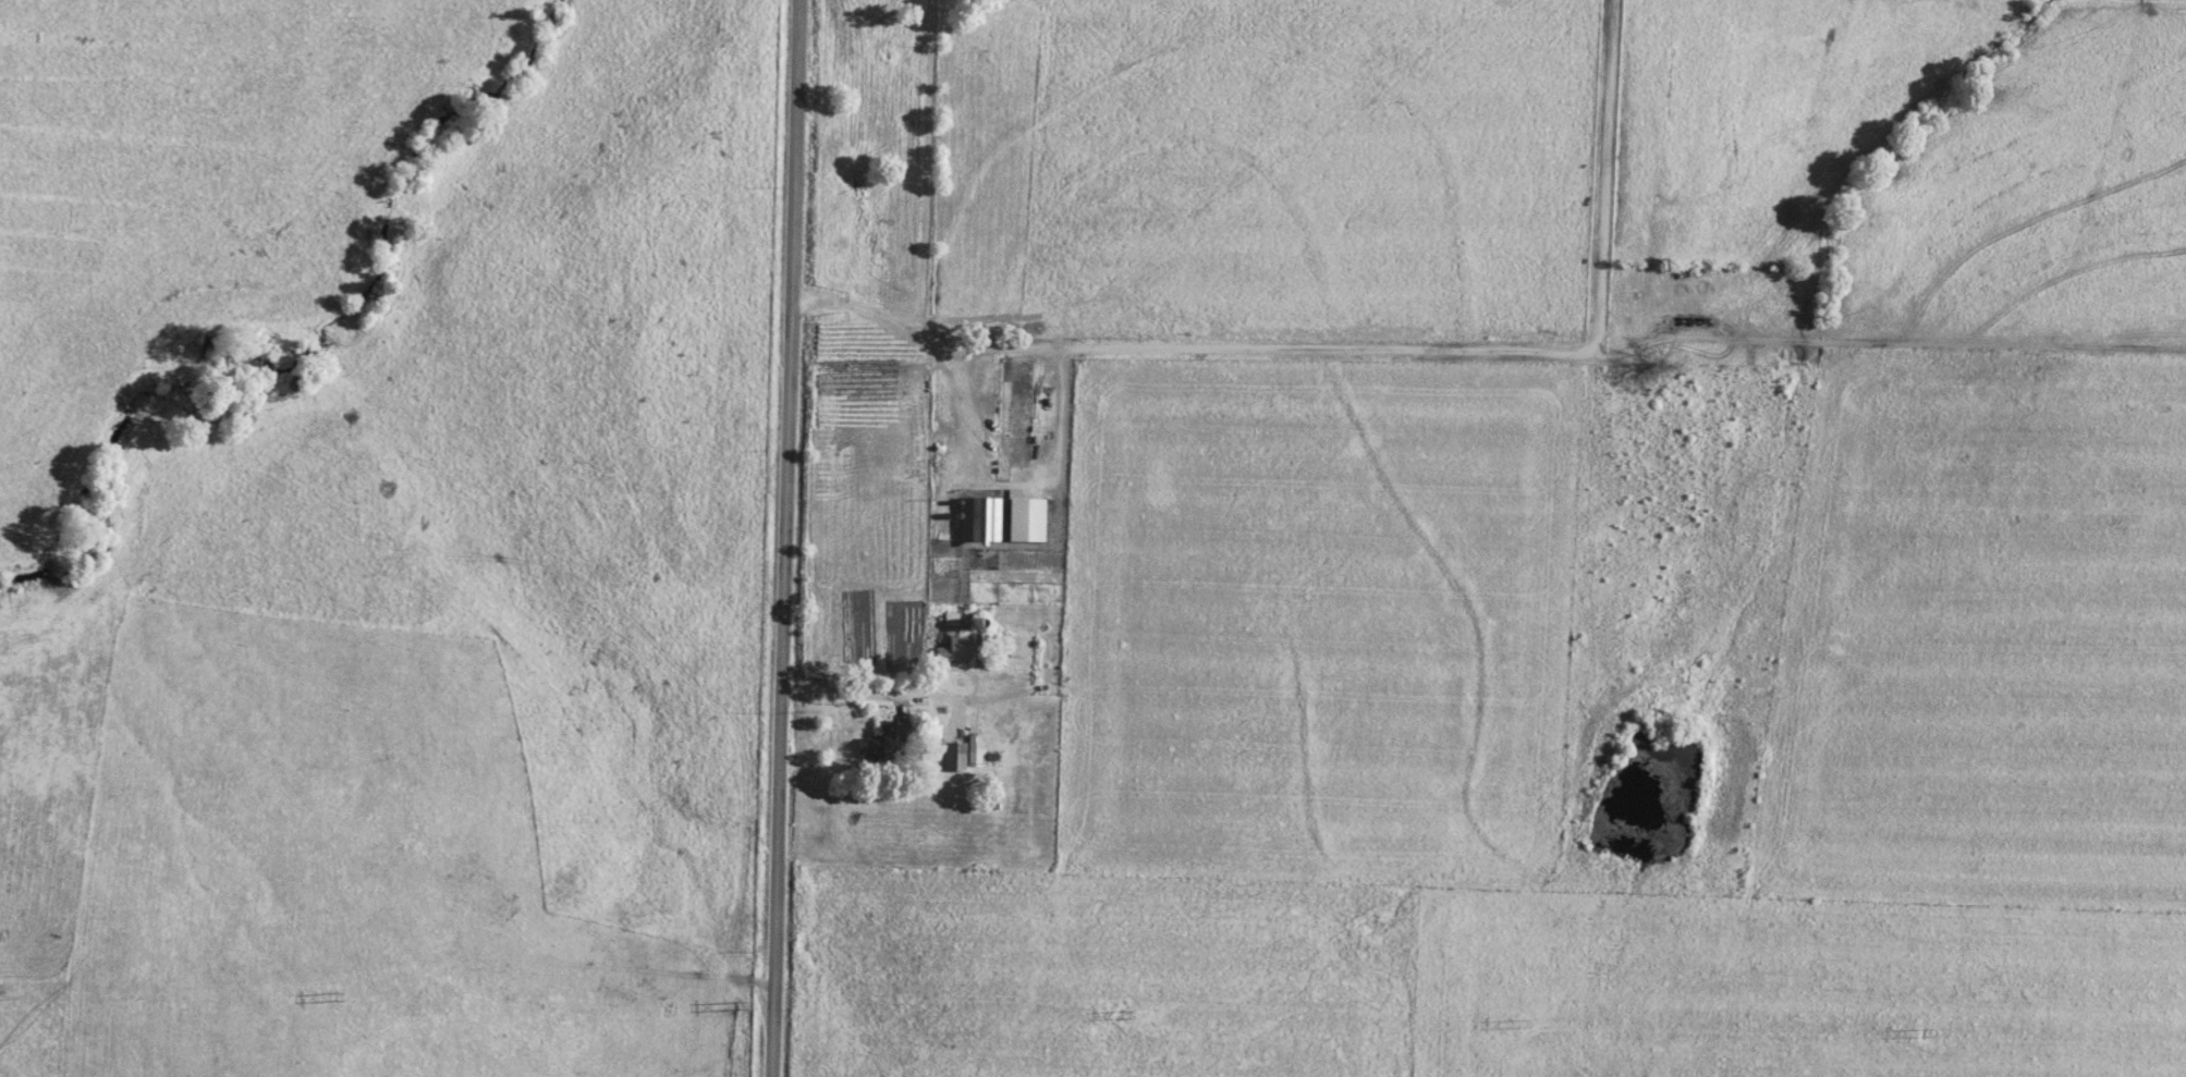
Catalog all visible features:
road: (929, 344)
road: (785, 431)
building: (980, 518)
building: (963, 648)
road: (1001, 698)
building: (878, 746)
building: (954, 756)
road: (774, 970)

